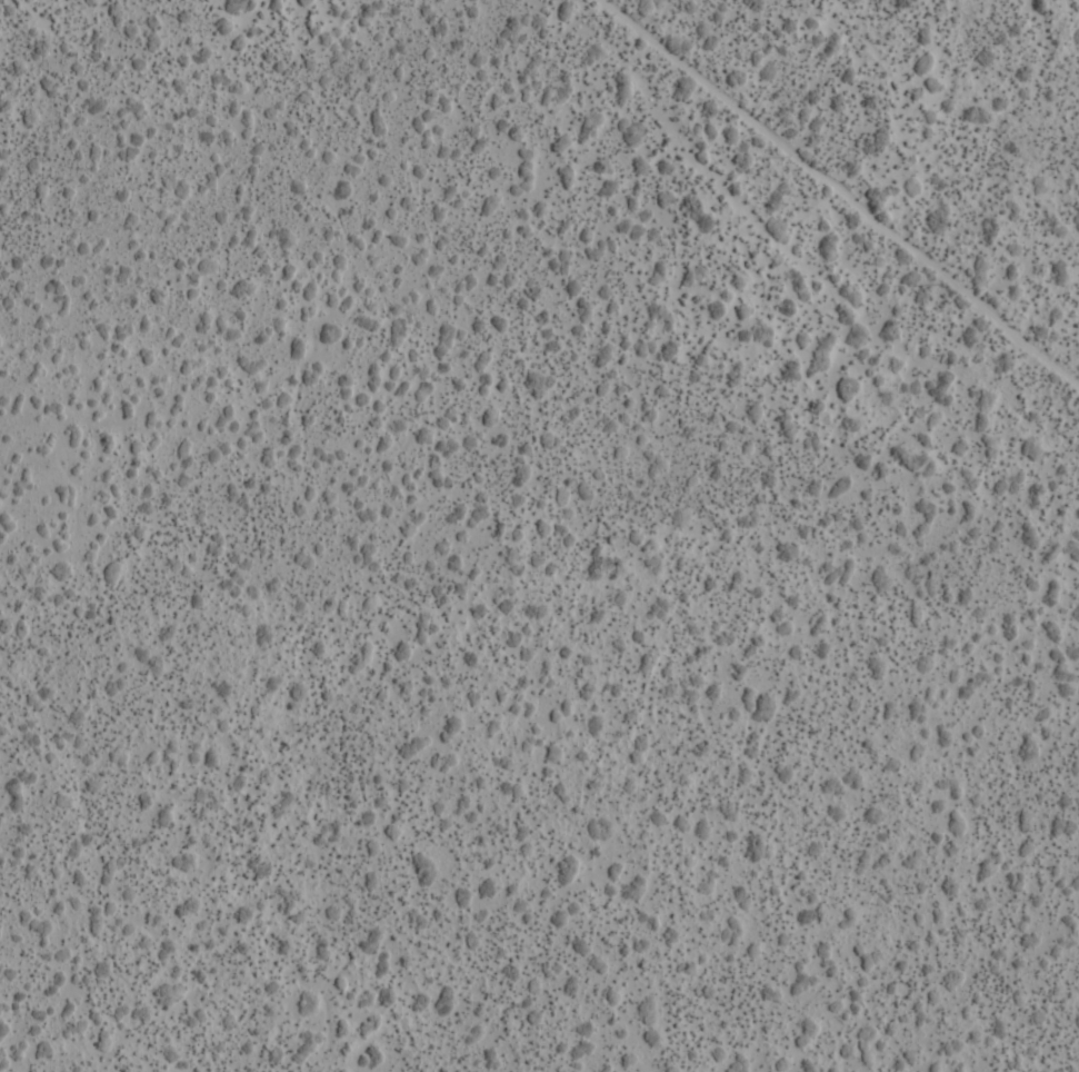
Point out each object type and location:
building: (980, 721)

